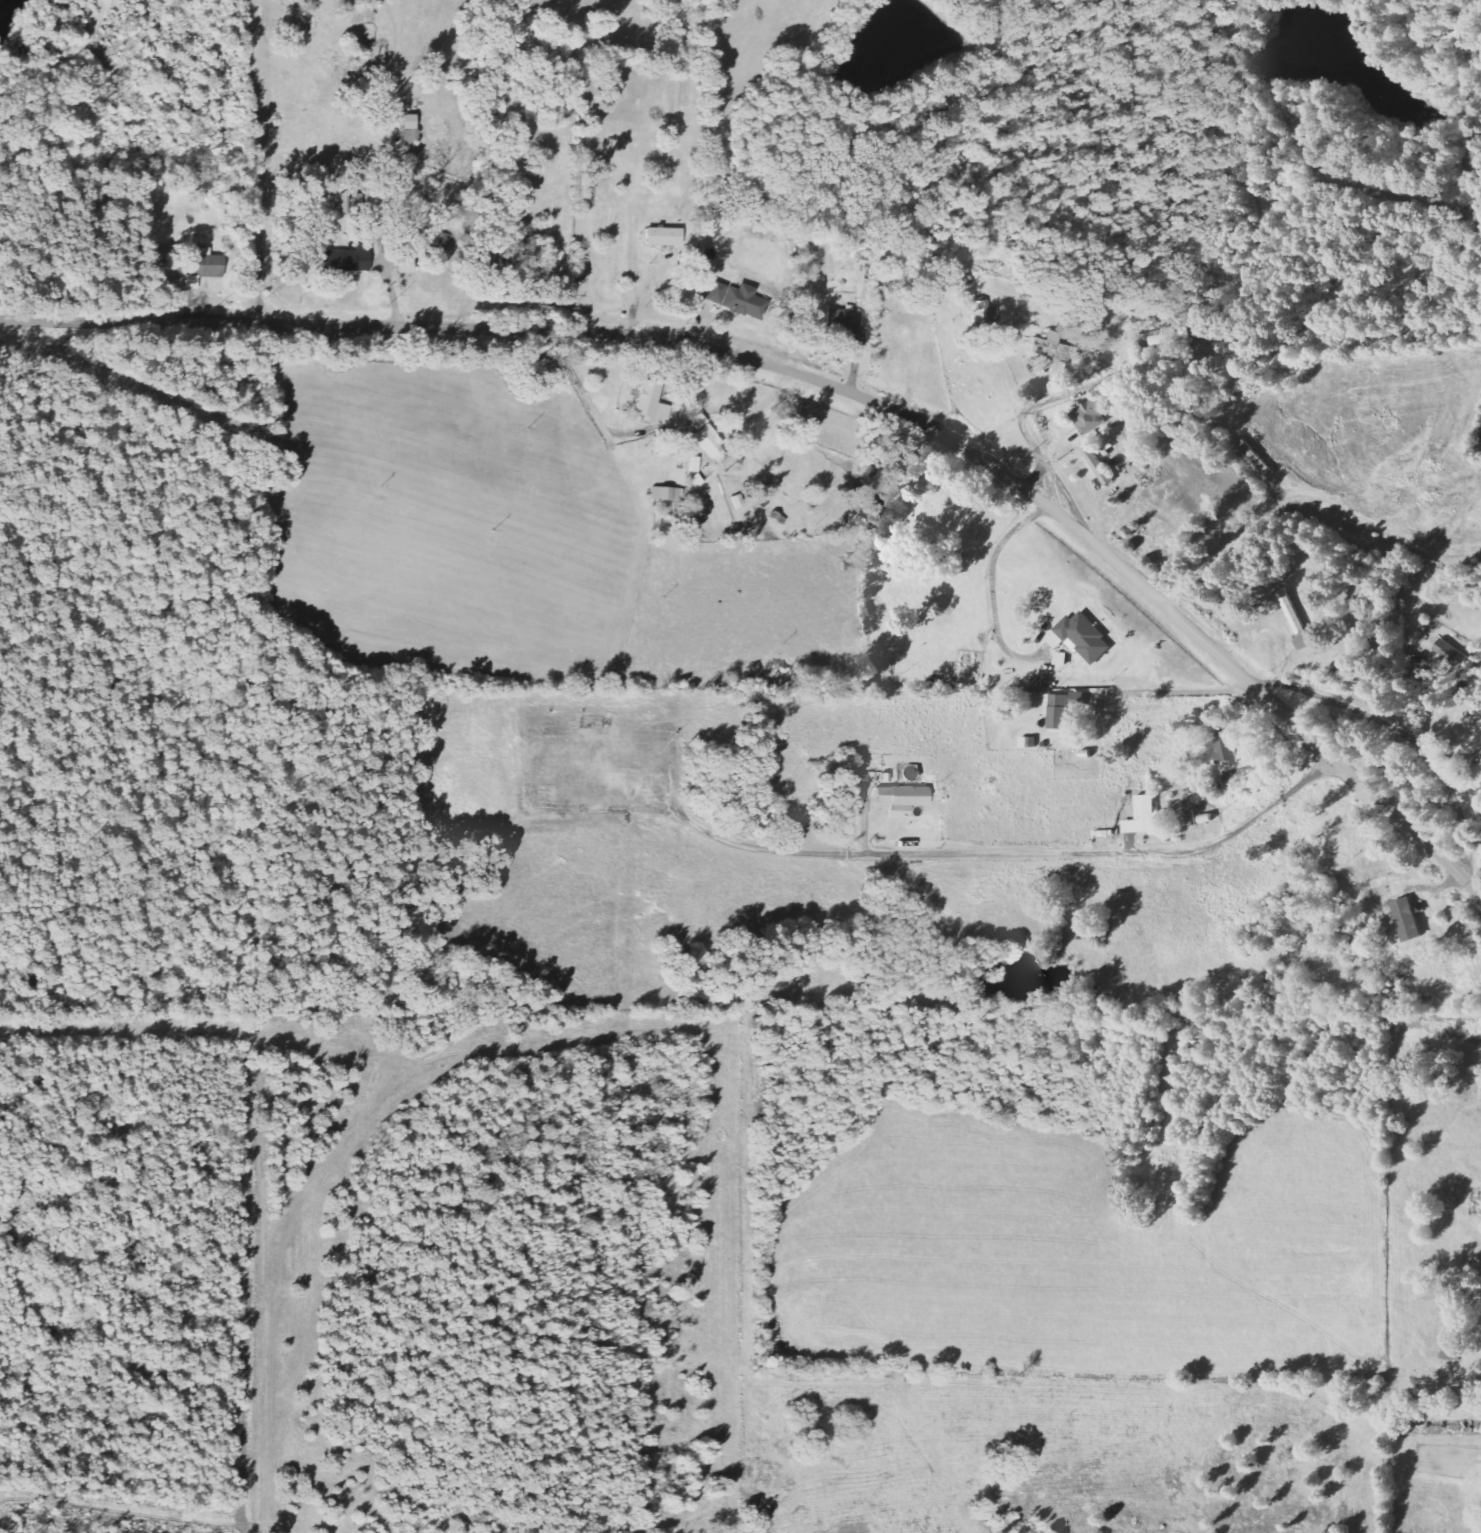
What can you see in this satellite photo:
building: (662, 236)
building: (346, 259)
building: (204, 263)
building: (404, 265)
building: (190, 282)
building: (735, 299)
building: (843, 319)
building: (1053, 350)
road: (828, 383)
road: (1045, 399)
building: (649, 402)
building: (1090, 416)
building: (708, 439)
building: (1097, 464)
building: (665, 493)
building: (736, 501)
building: (784, 505)
building: (1082, 637)
building: (1451, 652)
building: (1341, 667)
building: (1064, 709)
road: (1405, 734)
building: (1478, 741)
building: (1029, 742)
building: (1225, 746)
building: (901, 797)
building: (1144, 816)
road: (1106, 850)
building: (1407, 919)
building: (1451, 1346)

